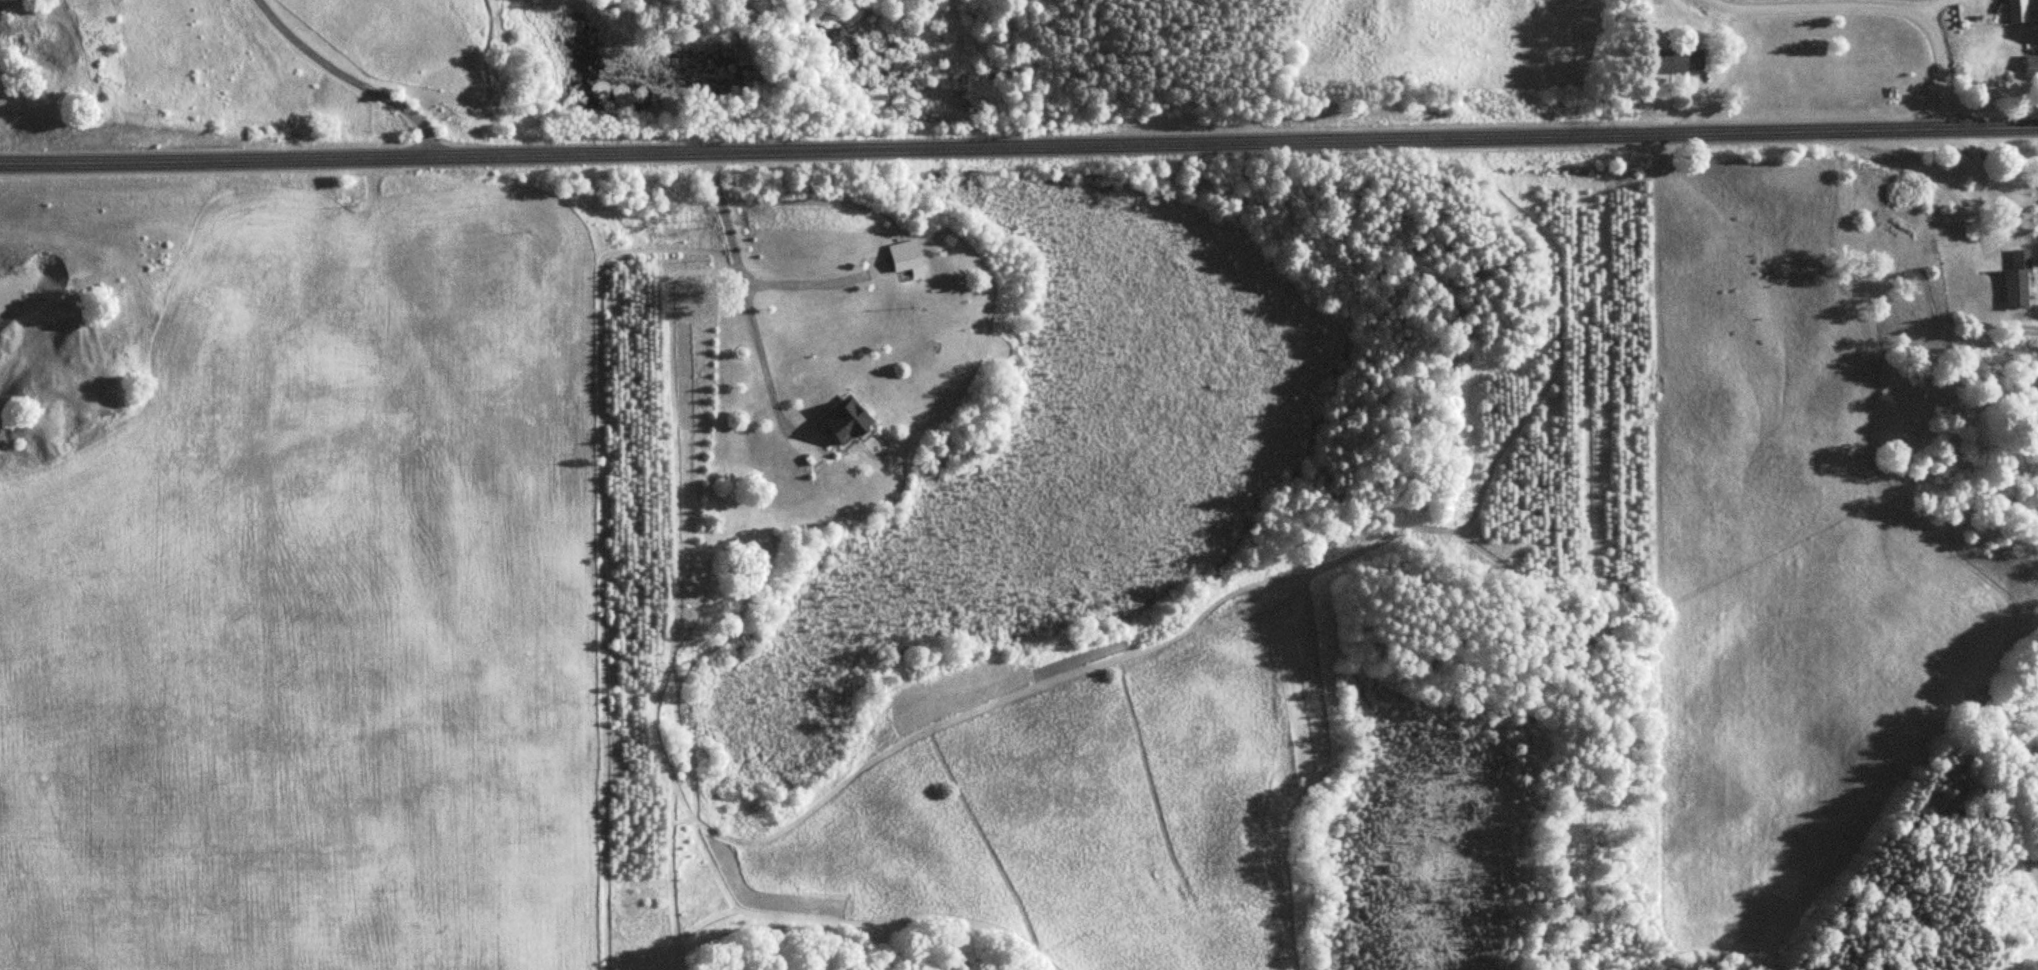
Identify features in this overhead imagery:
road: (1874, 3)
building: (2021, 8)
building: (1681, 60)
building: (2034, 65)
road: (352, 75)
road: (1019, 142)
building: (908, 255)
building: (2022, 279)
building: (846, 419)

